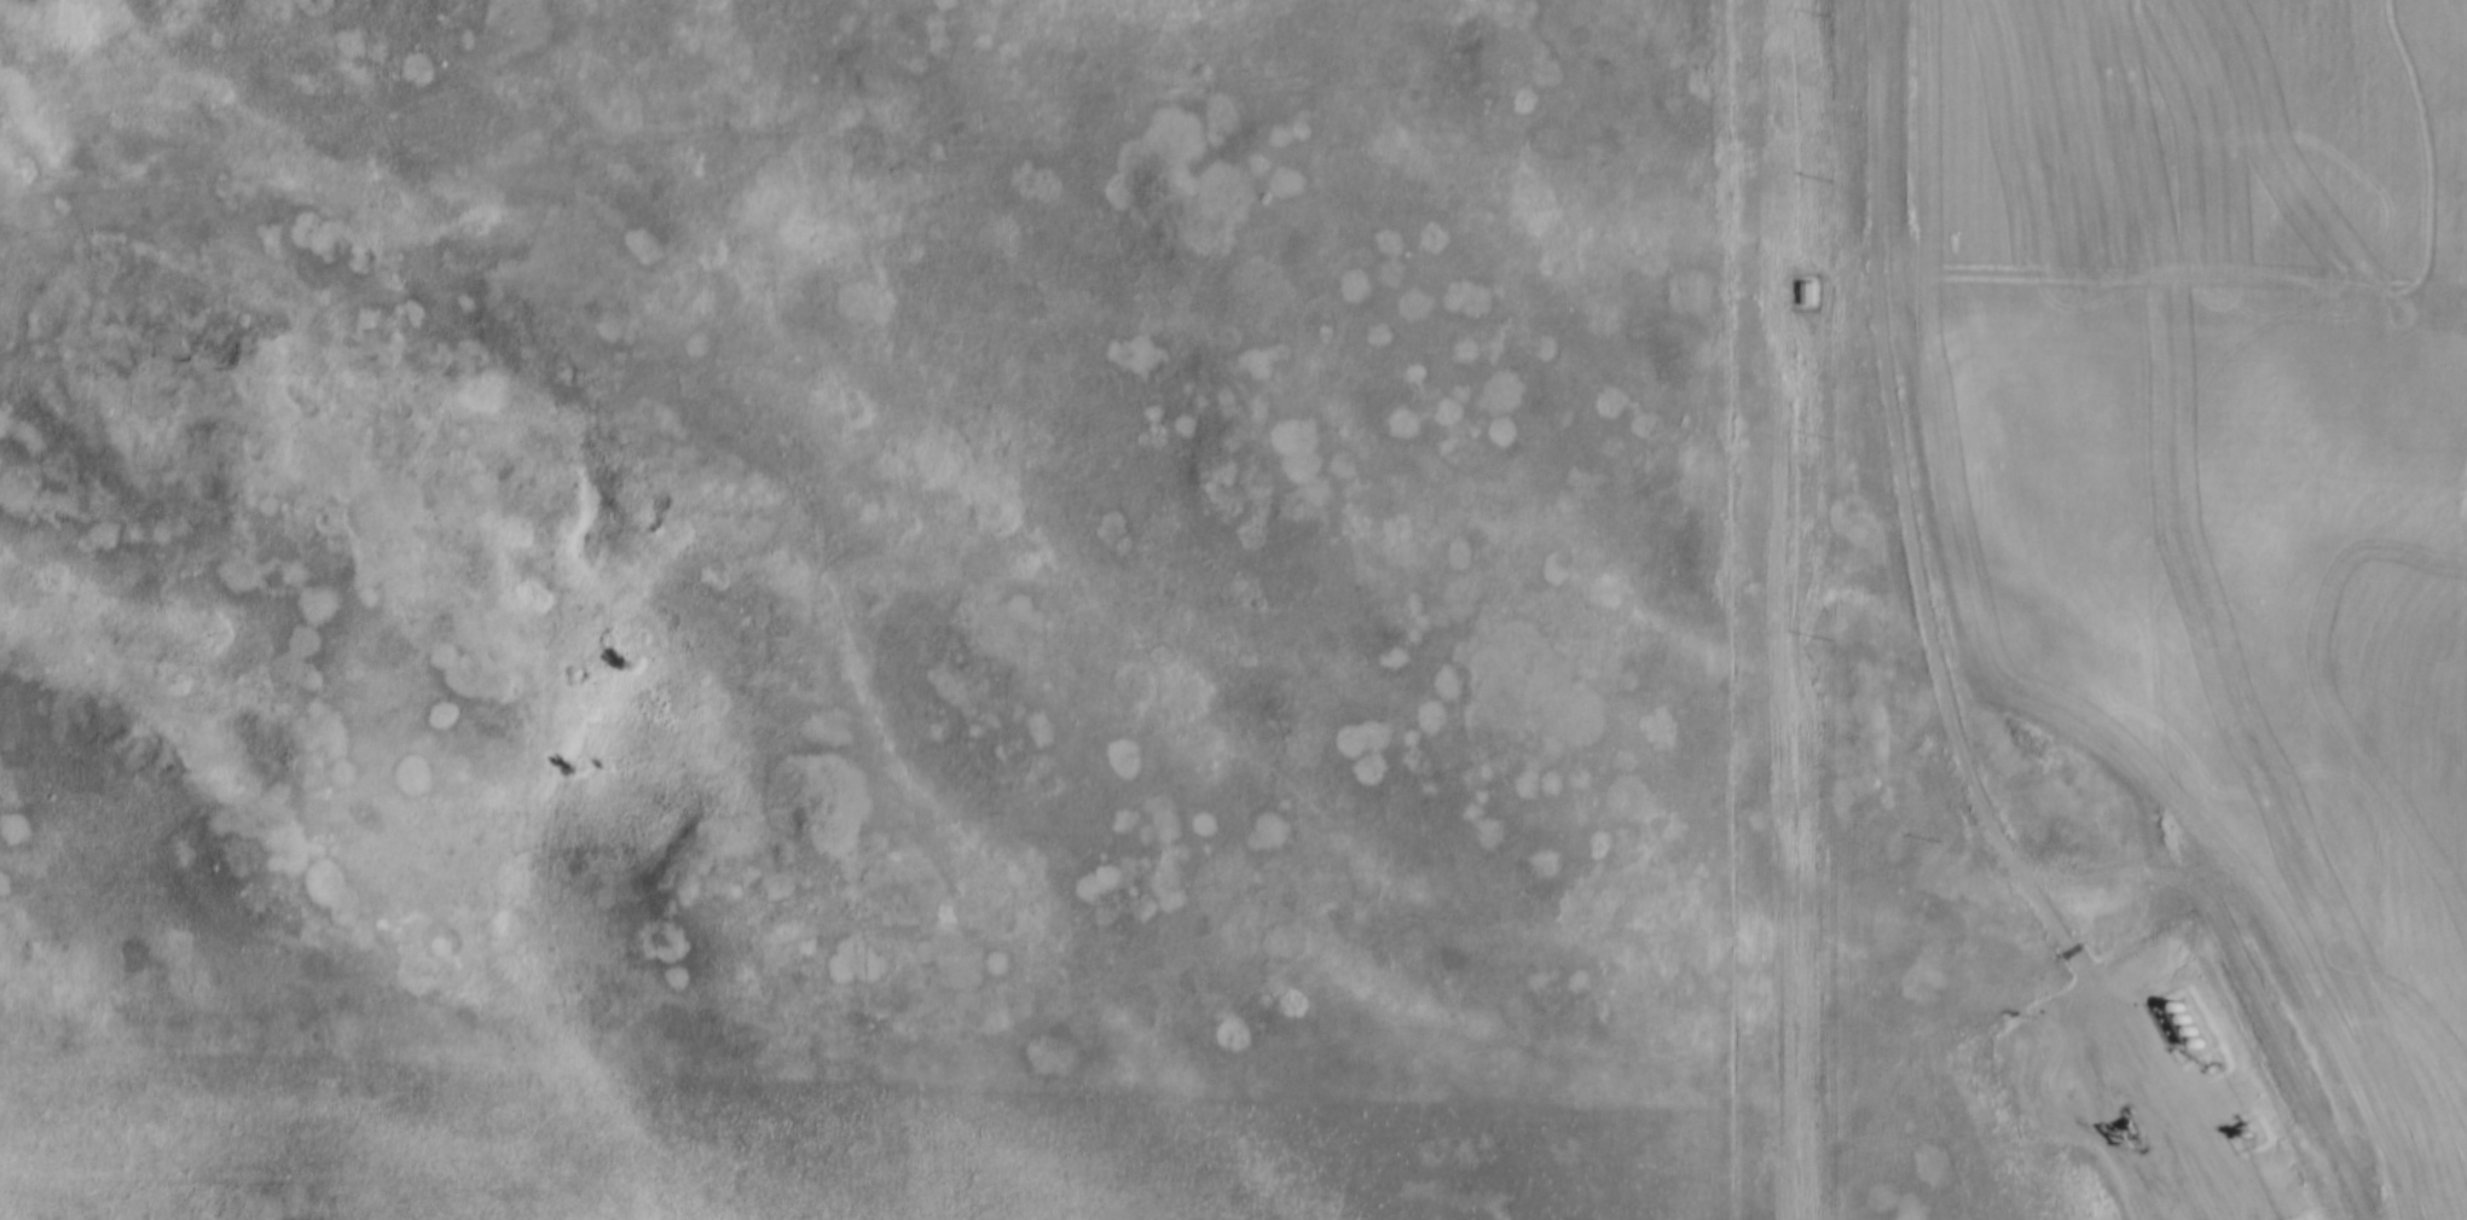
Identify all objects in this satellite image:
road: (1784, 609)

